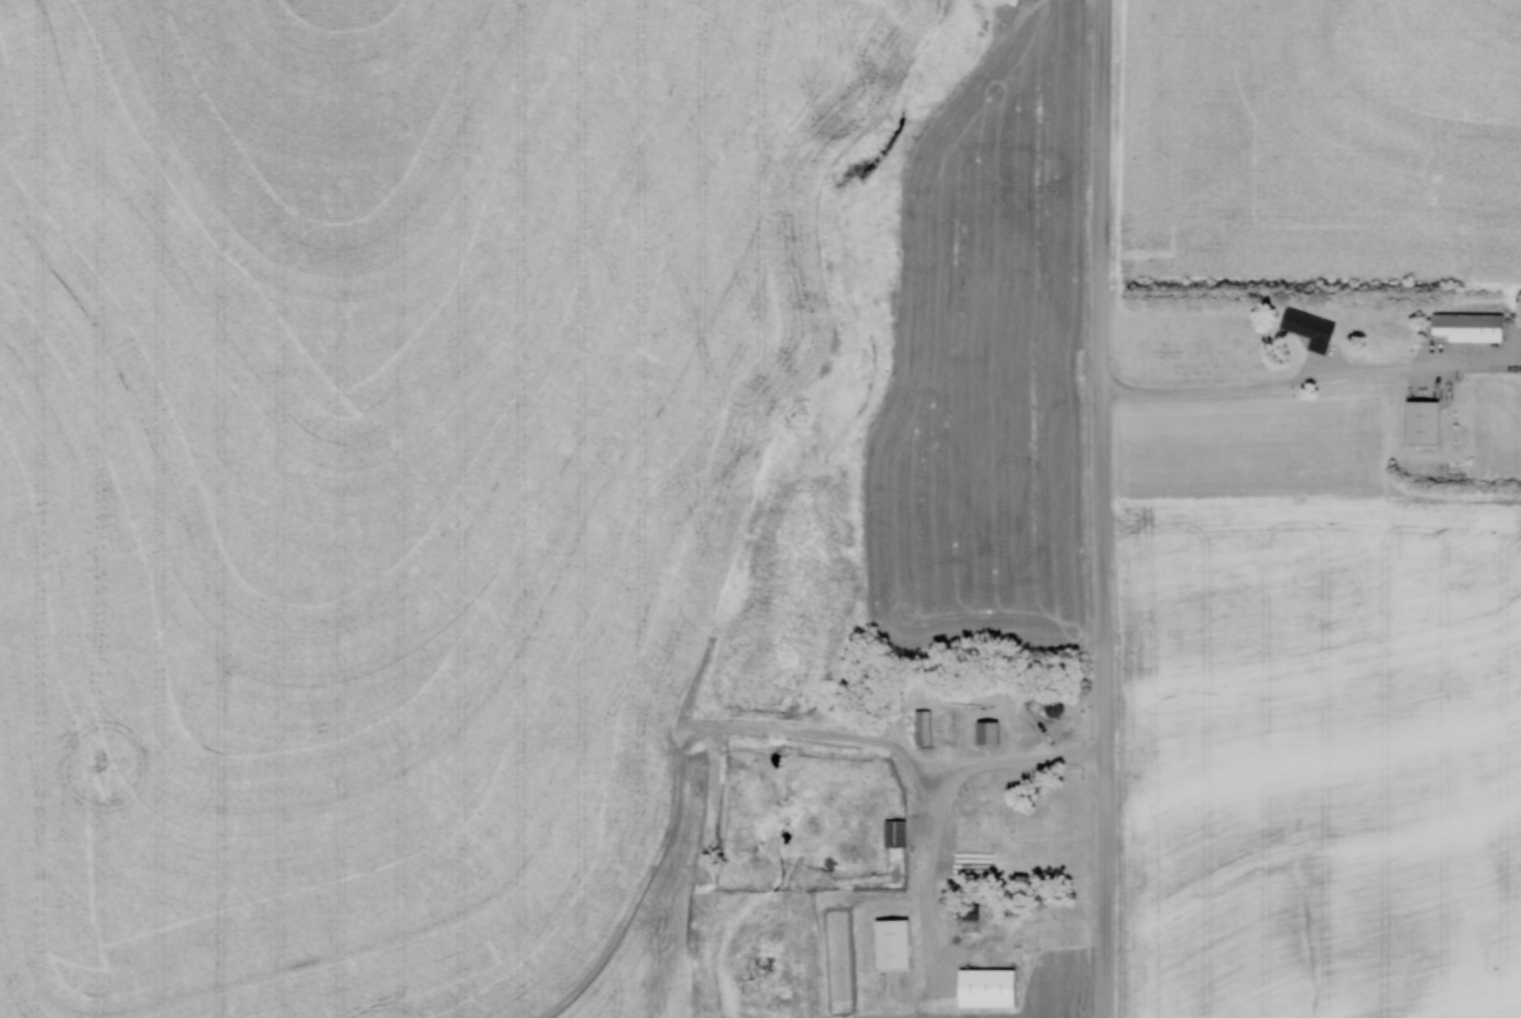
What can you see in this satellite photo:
building: (1464, 325)
building: (1307, 328)
road: (1311, 382)
building: (1419, 422)
road: (1103, 508)
building: (1049, 708)
building: (919, 726)
building: (983, 732)
power tower: (100, 762)
road: (957, 786)
building: (891, 832)
building: (967, 910)
building: (888, 941)
building: (981, 986)

